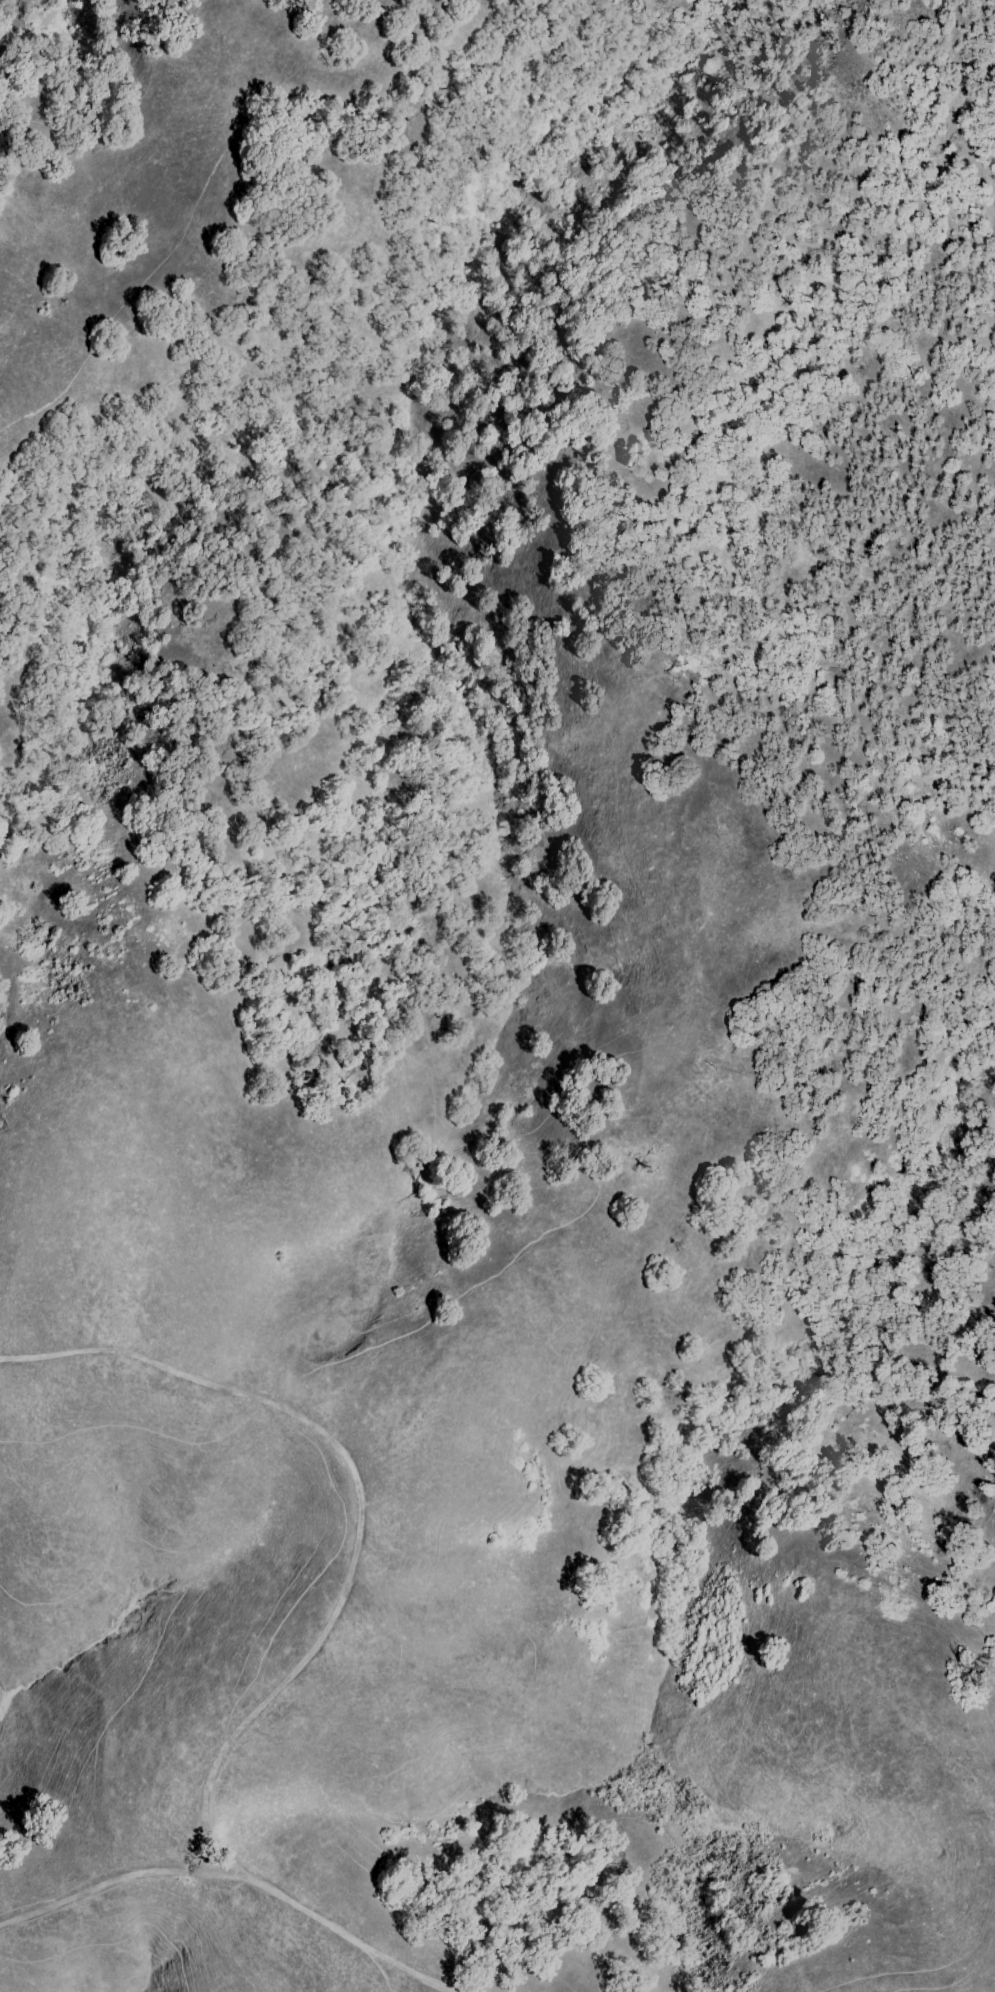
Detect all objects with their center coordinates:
road: (349, 1457)
road: (121, 1875)
road: (302, 1911)
road: (378, 1968)

